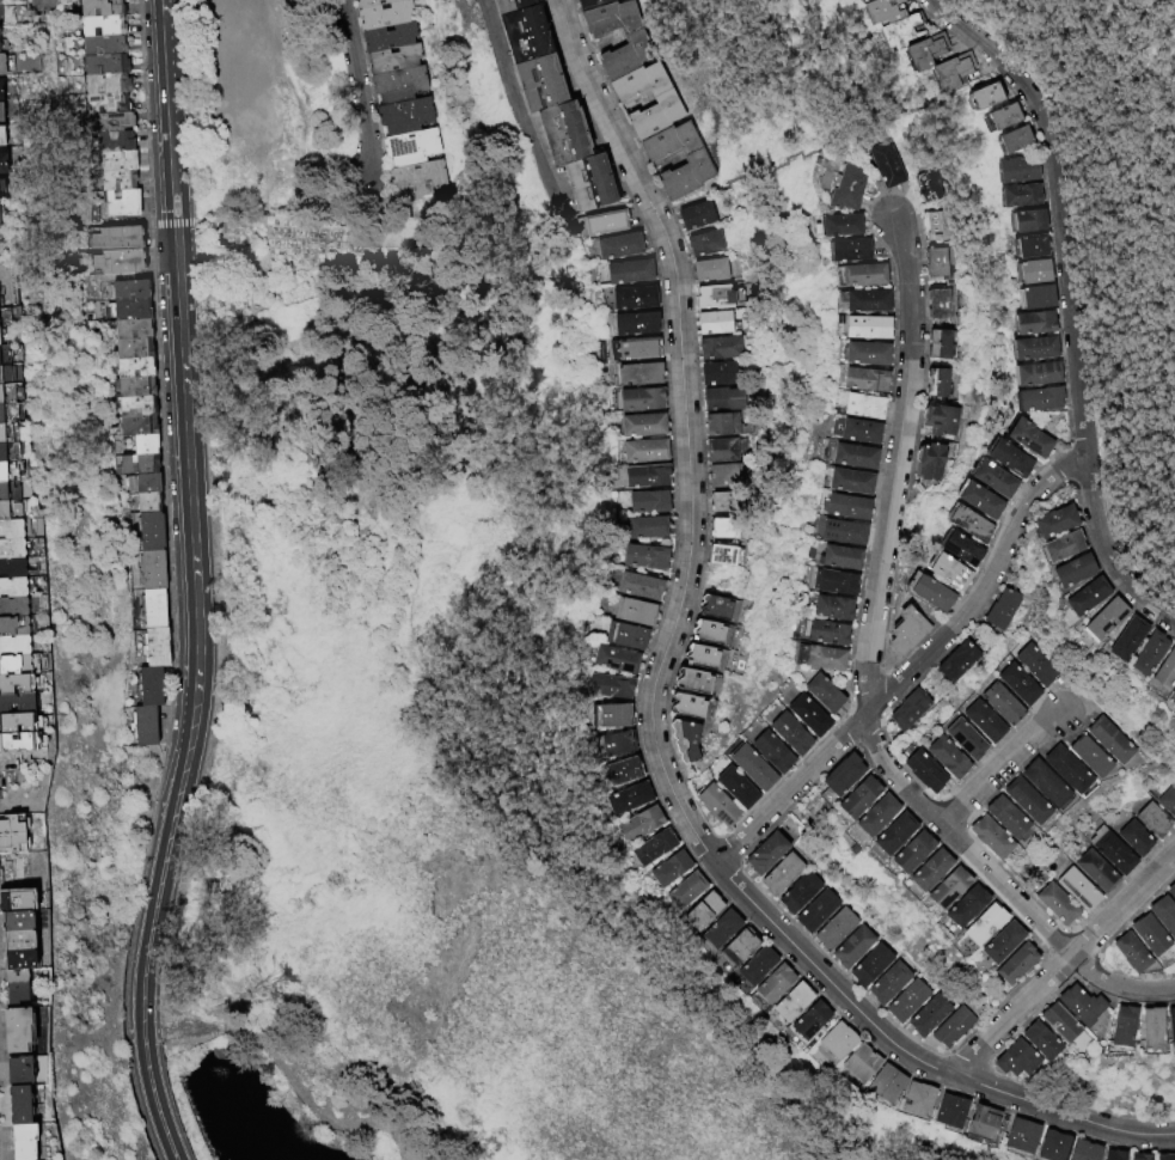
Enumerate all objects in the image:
road: (44, 2)
building: (849, 2)
building: (373, 4)
building: (503, 5)
building: (598, 6)
building: (99, 8)
building: (385, 16)
building: (871, 17)
building: (611, 23)
building: (102, 26)
building: (519, 36)
building: (388, 38)
building: (887, 39)
building: (0, 44)
building: (103, 45)
road: (1136, 55)
building: (625, 57)
building: (911, 59)
building: (392, 60)
building: (1, 65)
building: (104, 65)
park: (263, 77)
building: (938, 78)
road: (356, 81)
building: (106, 85)
building: (398, 86)
building: (637, 86)
building: (536, 87)
building: (0, 92)
building: (105, 104)
building: (971, 104)
road: (516, 111)
building: (0, 112)
building: (1003, 116)
building: (404, 117)
building: (654, 117)
building: (108, 122)
building: (989, 126)
building: (1, 136)
building: (559, 138)
building: (1012, 139)
building: (114, 142)
building: (668, 146)
building: (410, 148)
building: (1002, 148)
building: (118, 161)
building: (2, 163)
building: (885, 166)
road: (870, 176)
building: (685, 178)
building: (1006, 178)
building: (117, 181)
building: (416, 181)
building: (585, 185)
building: (928, 185)
building: (0, 190)
building: (842, 193)
building: (1009, 202)
building: (121, 203)
building: (697, 216)
building: (604, 220)
building: (1026, 220)
road: (172, 224)
building: (935, 228)
building: (837, 230)
building: (1017, 230)
park: (1118, 237)
building: (116, 240)
building: (617, 244)
building: (706, 244)
building: (846, 255)
building: (1018, 255)
park: (772, 257)
building: (116, 264)
building: (934, 264)
building: (628, 270)
building: (711, 270)
building: (1033, 270)
building: (861, 277)
building: (1022, 281)
building: (128, 292)
building: (632, 297)
building: (715, 299)
building: (1024, 300)
building: (865, 303)
building: (938, 304)
road: (1070, 305)
building: (129, 312)
building: (1023, 318)
building: (634, 320)
building: (714, 323)
building: (865, 328)
building: (130, 331)
building: (937, 343)
building: (1023, 343)
building: (636, 346)
building: (721, 348)
building: (130, 350)
building: (865, 353)
road: (182, 368)
building: (131, 370)
building: (1027, 370)
building: (637, 372)
building: (718, 373)
building: (5, 374)
building: (863, 379)
building: (934, 381)
building: (134, 389)
building: (6, 392)
building: (1029, 395)
building: (639, 398)
building: (721, 399)
building: (859, 405)
building: (134, 408)
building: (1, 414)
building: (937, 420)
building: (642, 423)
building: (717, 425)
building: (135, 427)
building: (857, 429)
building: (5, 433)
building: (1020, 434)
building: (142, 446)
building: (642, 448)
building: (722, 450)
building: (2, 452)
building: (999, 453)
building: (851, 456)
building: (924, 464)
building: (136, 465)
building: (8, 471)
building: (984, 474)
building: (644, 476)
building: (724, 476)
building: (846, 480)
building: (146, 484)
building: (8, 492)
building: (971, 496)
building: (645, 501)
building: (723, 502)
building: (146, 503)
building: (843, 505)
building: (10, 511)
building: (1047, 518)
building: (960, 521)
building: (644, 527)
building: (722, 529)
building: (11, 530)
building: (837, 530)
building: (148, 532)
building: (1053, 543)
building: (954, 548)
building: (12, 549)
building: (720, 556)
building: (836, 556)
building: (642, 557)
building: (12, 568)
building: (1064, 568)
building: (942, 569)
building: (151, 570)
building: (831, 581)
road: (169, 584)
building: (636, 585)
building: (12, 587)
building: (922, 591)
building: (1078, 593)
building: (825, 605)
building: (13, 608)
building: (718, 608)
building: (993, 609)
building: (152, 610)
building: (629, 610)
building: (1095, 617)
building: (13, 627)
building: (899, 629)
building: (709, 631)
building: (820, 631)
building: (618, 634)
building: (1116, 634)
building: (1126, 637)
building: (14, 646)
building: (1134, 646)
building: (154, 649)
building: (1148, 653)
building: (702, 655)
building: (816, 657)
building: (607, 658)
building: (1028, 658)
building: (949, 659)
building: (1156, 661)
building: (19, 665)
road: (912, 667)
building: (1011, 677)
building: (694, 680)
road: (864, 680)
building: (1168, 682)
building: (19, 684)
building: (601, 684)
building: (148, 688)
building: (824, 692)
building: (995, 696)
road: (651, 700)
building: (18, 703)
building: (690, 706)
building: (899, 708)
building: (600, 713)
building: (809, 714)
building: (977, 715)
building: (20, 721)
building: (143, 728)
building: (790, 733)
building: (959, 733)
building: (1101, 735)
building: (685, 739)
building: (20, 741)
building: (601, 741)
building: (772, 751)
building: (941, 751)
building: (1081, 752)
building: (1058, 764)
building: (918, 765)
building: (617, 767)
building: (752, 767)
road: (999, 767)
building: (843, 770)
building: (1035, 779)
building: (736, 786)
building: (859, 793)
building: (625, 794)
building: (1017, 796)
building: (1164, 802)
building: (716, 804)
building: (876, 812)
building: (997, 812)
building: (1149, 819)
building: (637, 820)
building: (895, 830)
building: (981, 832)
building: (14, 834)
building: (1130, 837)
building: (650, 843)
building: (913, 848)
building: (764, 849)
building: (1107, 849)
building: (667, 863)
building: (930, 867)
building: (777, 871)
building: (1091, 871)
building: (685, 886)
building: (948, 886)
building: (795, 889)
building: (1072, 889)
building: (1169, 892)
building: (16, 902)
building: (968, 903)
building: (1052, 904)
building: (700, 906)
building: (813, 908)
building: (1161, 915)
building: (17, 921)
building: (987, 921)
building: (720, 926)
building: (832, 926)
building: (1144, 934)
building: (1005, 939)
building: (17, 940)
building: (738, 942)
building: (850, 944)
road: (147, 948)
building: (1126, 952)
building: (18, 959)
building: (755, 961)
building: (868, 961)
building: (1016, 963)
road: (1061, 964)
building: (773, 981)
building: (887, 981)
building: (16, 987)
building: (791, 999)
building: (904, 999)
building: (1075, 1005)
building: (928, 1012)
building: (812, 1020)
building: (1053, 1021)
building: (949, 1024)
building: (1116, 1026)
building: (1168, 1026)
building: (1145, 1028)
road: (180, 1030)
building: (18, 1032)
building: (837, 1038)
building: (1035, 1039)
building: (1010, 1058)
building: (861, 1061)
building: (19, 1070)
building: (886, 1081)
building: (916, 1095)
building: (19, 1103)
road: (307, 1103)
building: (948, 1106)
building: (979, 1118)
building: (1018, 1132)
building: (24, 1141)
building: (1051, 1143)
building: (1082, 1149)
building: (1107, 1153)
building: (1134, 1155)
building: (1161, 1155)

